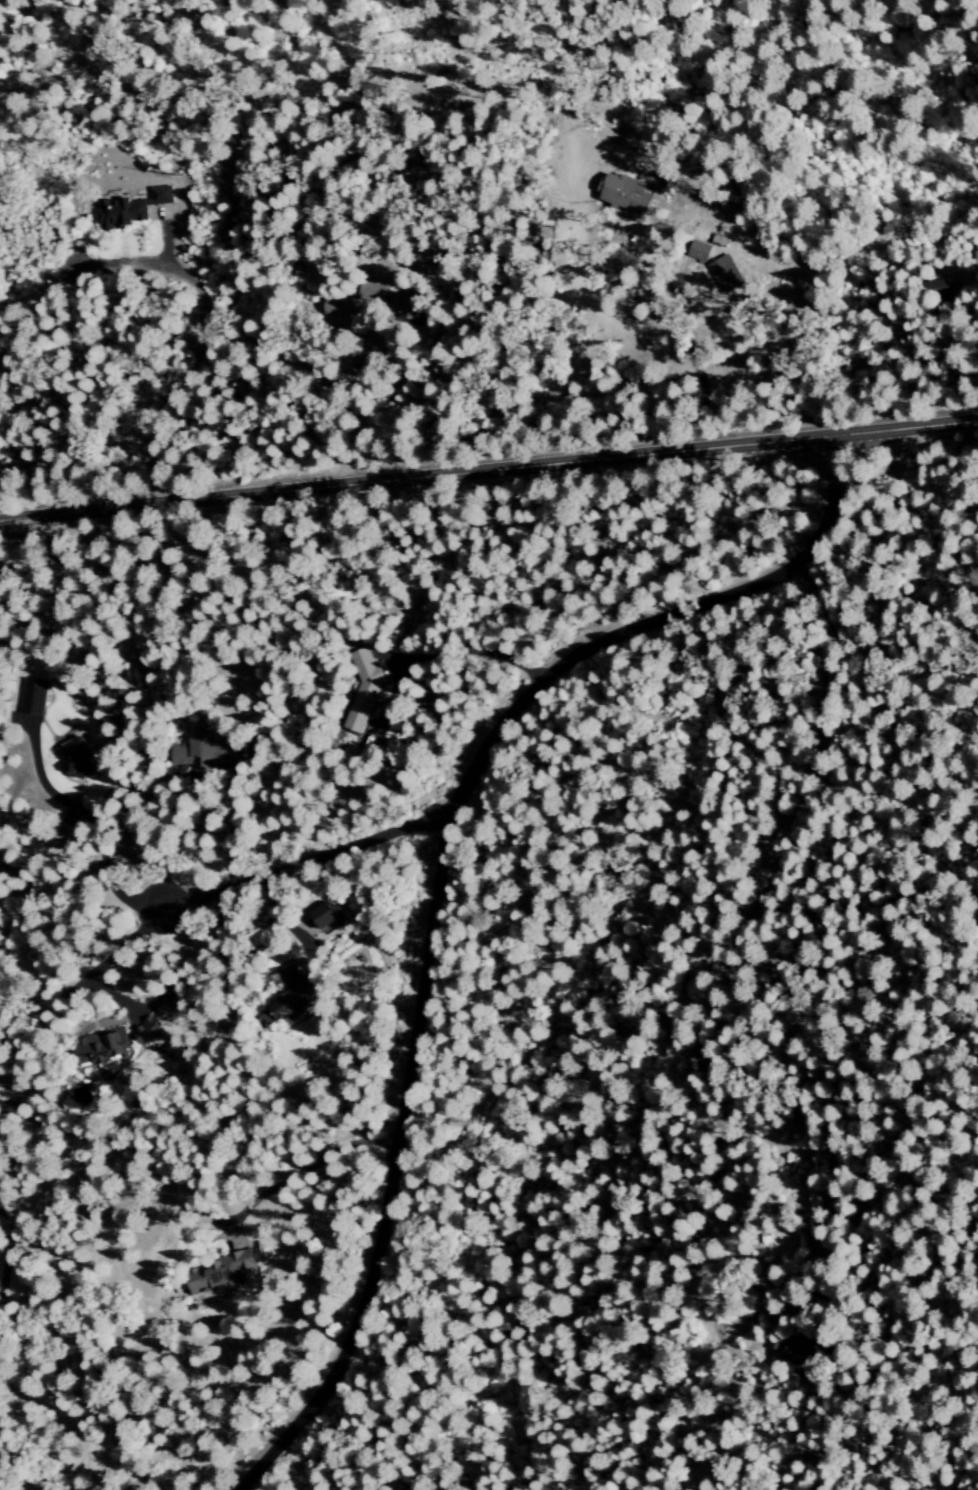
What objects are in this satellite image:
building: (617, 191)
building: (128, 208)
building: (694, 249)
building: (719, 271)
road: (968, 334)
road: (684, 337)
road: (208, 339)
road: (342, 401)
road: (653, 453)
road: (489, 498)
road: (164, 502)
building: (363, 691)
building: (190, 755)
building: (71, 756)
road: (305, 859)
road: (432, 883)
building: (143, 1023)
building: (101, 1048)
road: (306, 1167)
road: (9, 1263)

